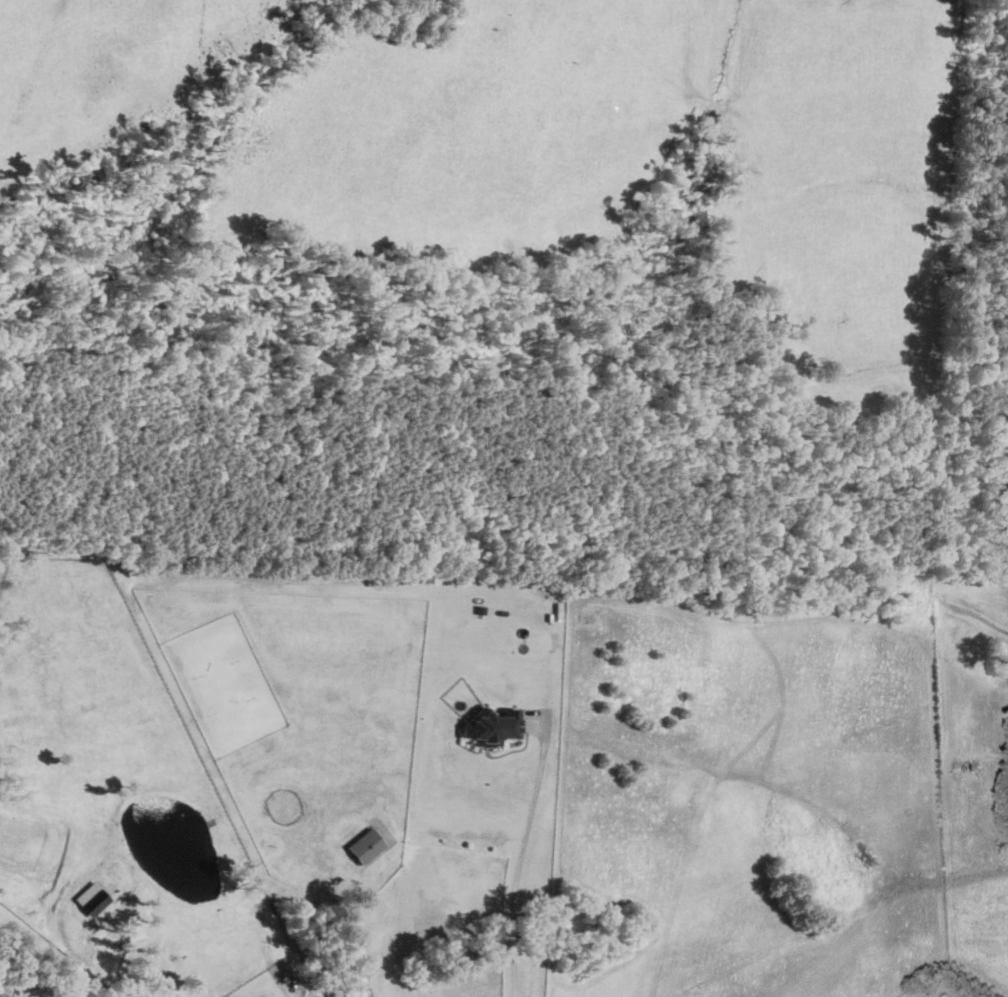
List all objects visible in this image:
building: (491, 726)
building: (365, 845)
road: (521, 856)
building: (94, 901)

